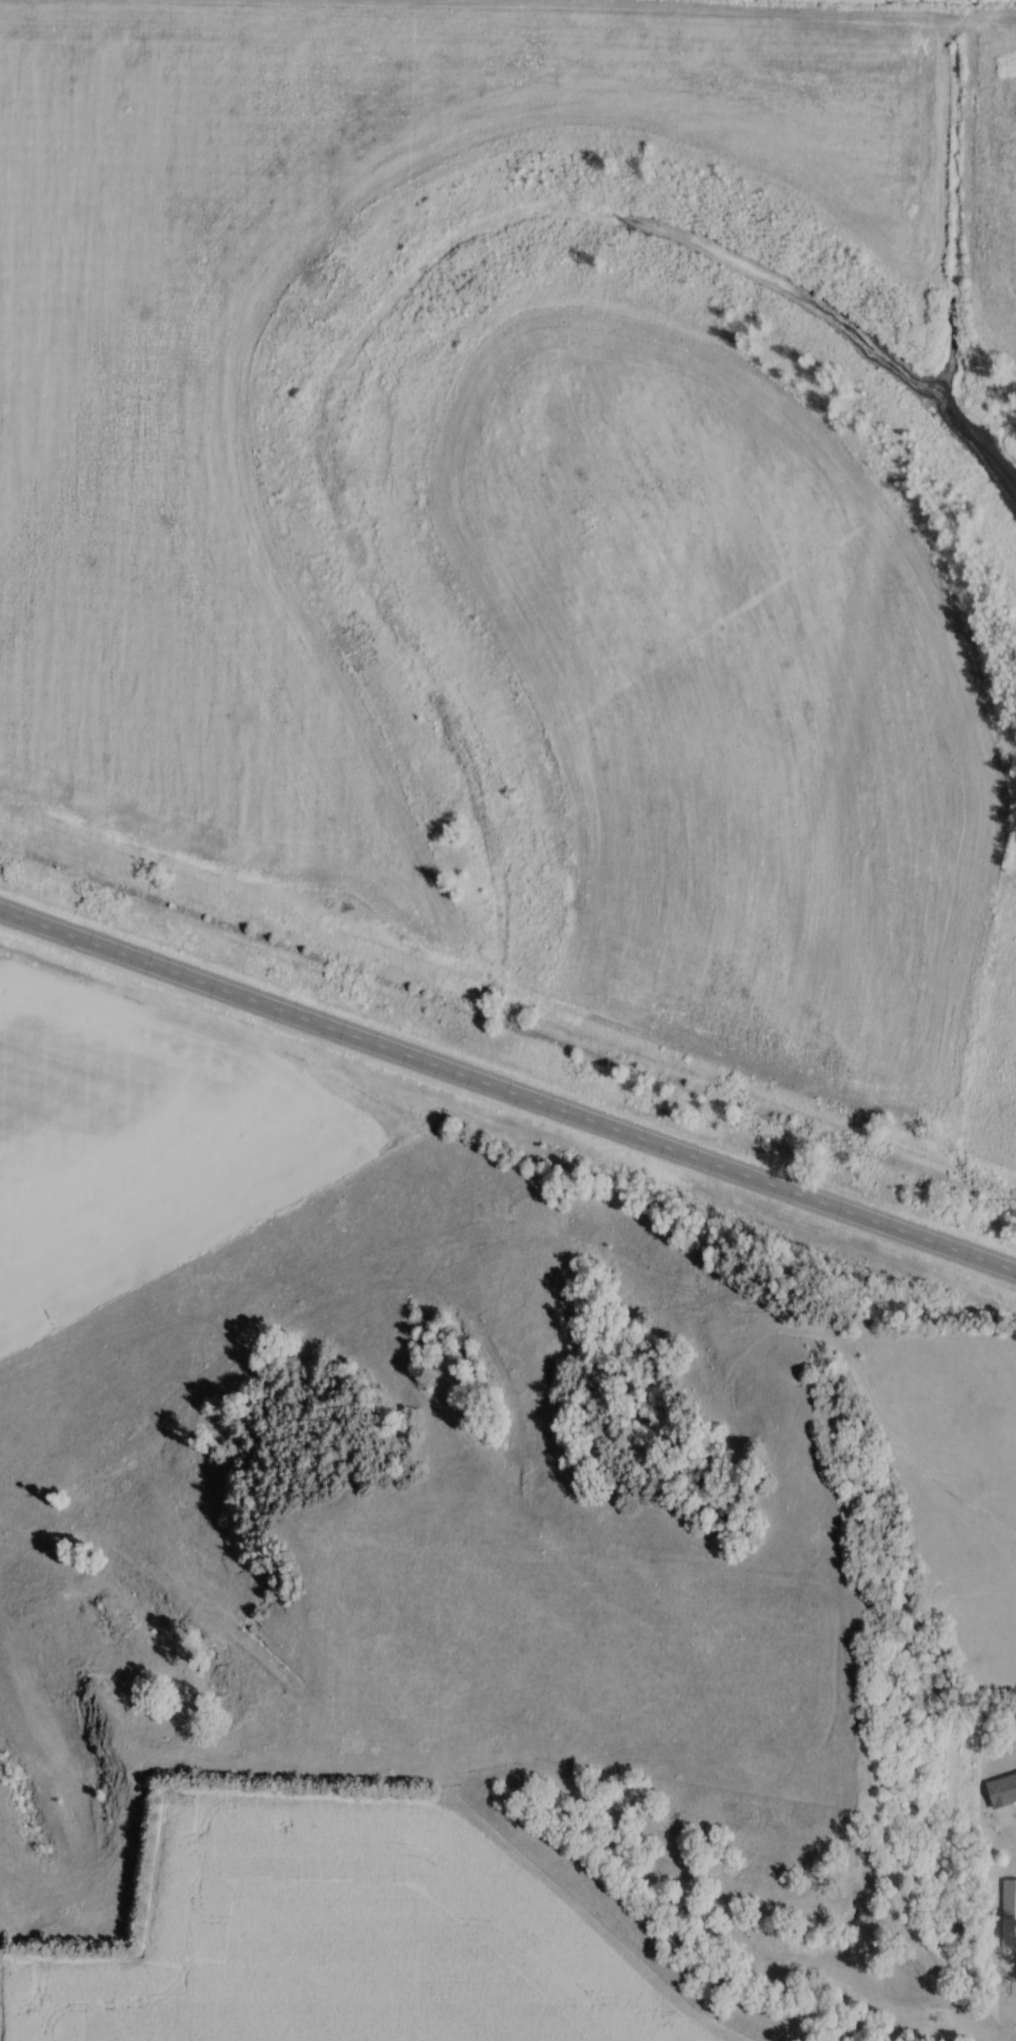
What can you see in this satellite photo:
road: (507, 1095)
building: (1003, 1791)
building: (1009, 1915)

